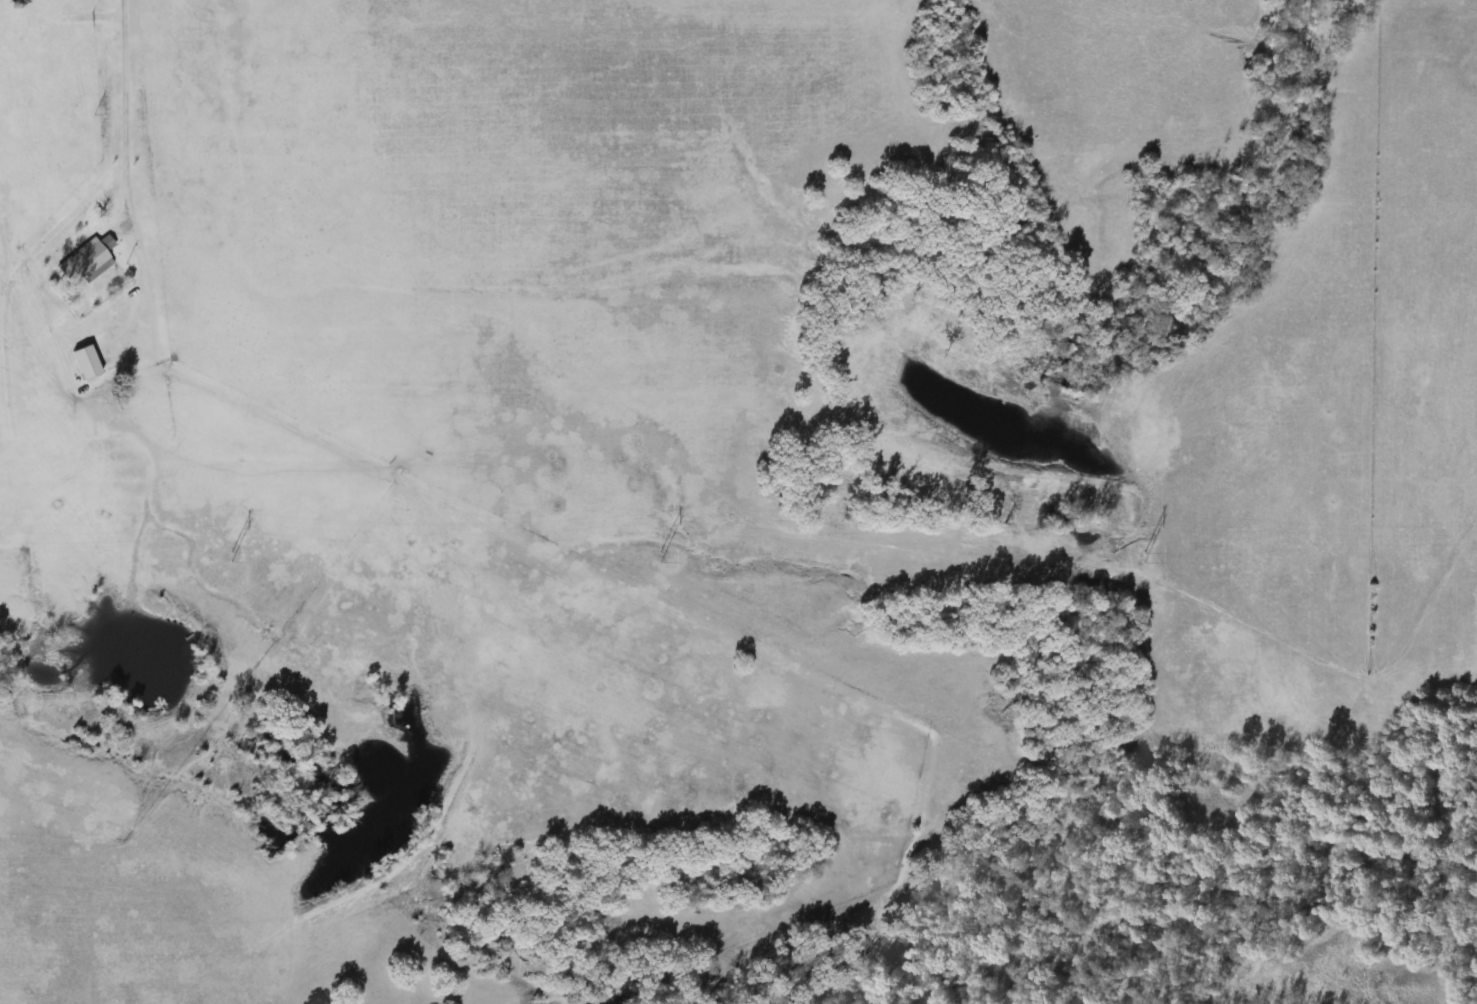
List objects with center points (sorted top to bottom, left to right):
building: (85, 262)
building: (84, 363)

